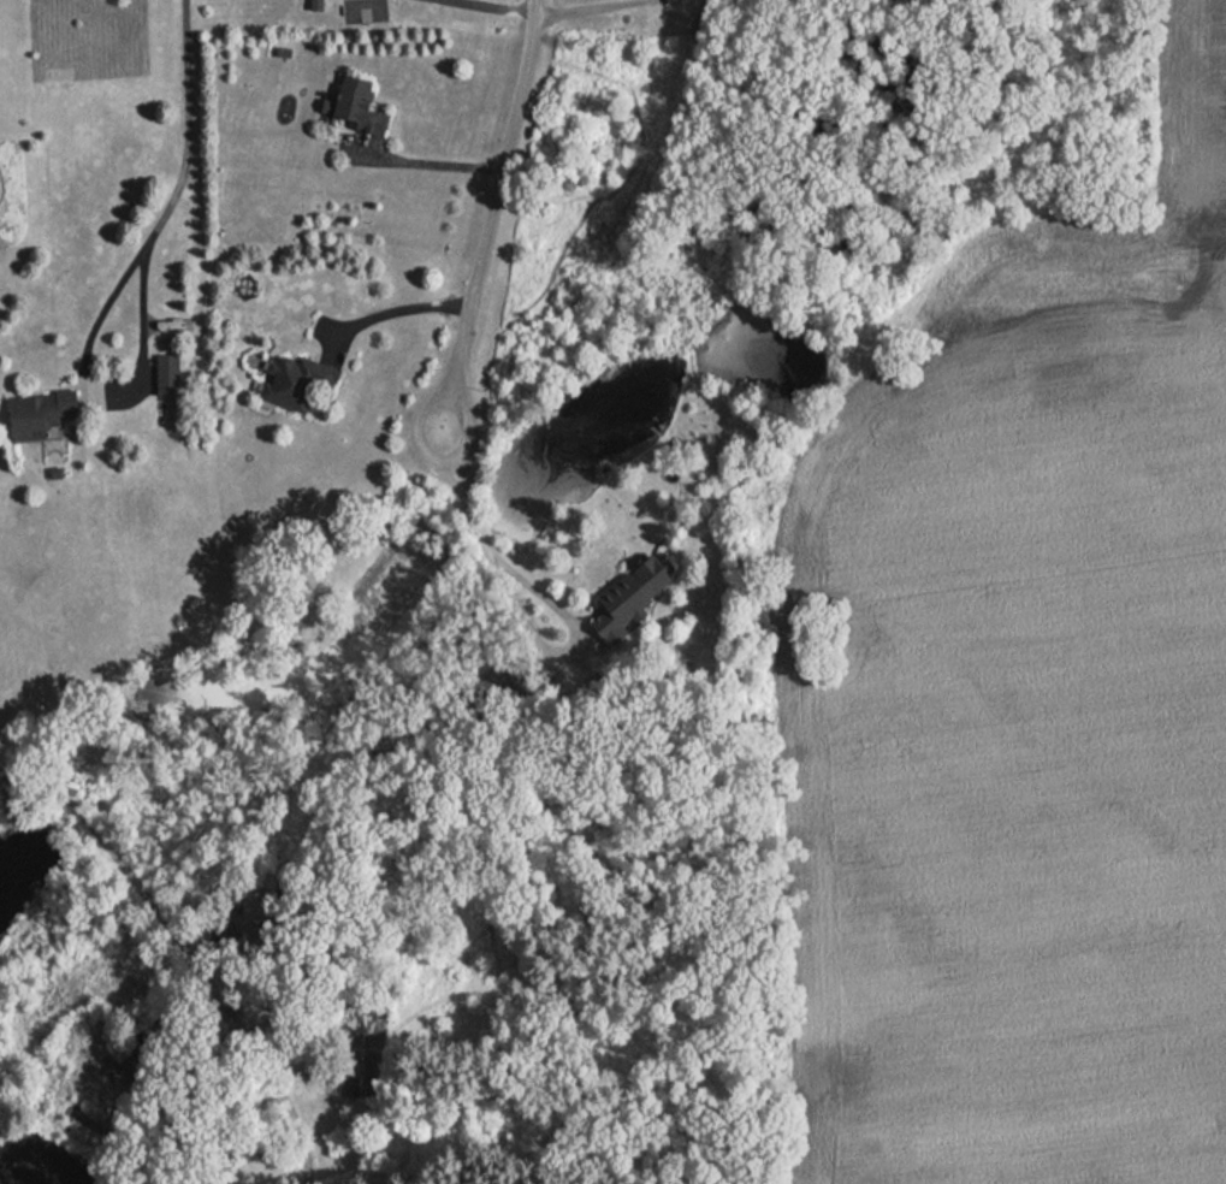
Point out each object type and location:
road: (493, 7)
building: (359, 105)
road: (184, 129)
road: (432, 164)
road: (494, 207)
road: (395, 314)
building: (298, 381)
road: (109, 386)
building: (45, 414)
building: (636, 593)
road: (519, 608)
road: (189, 951)

